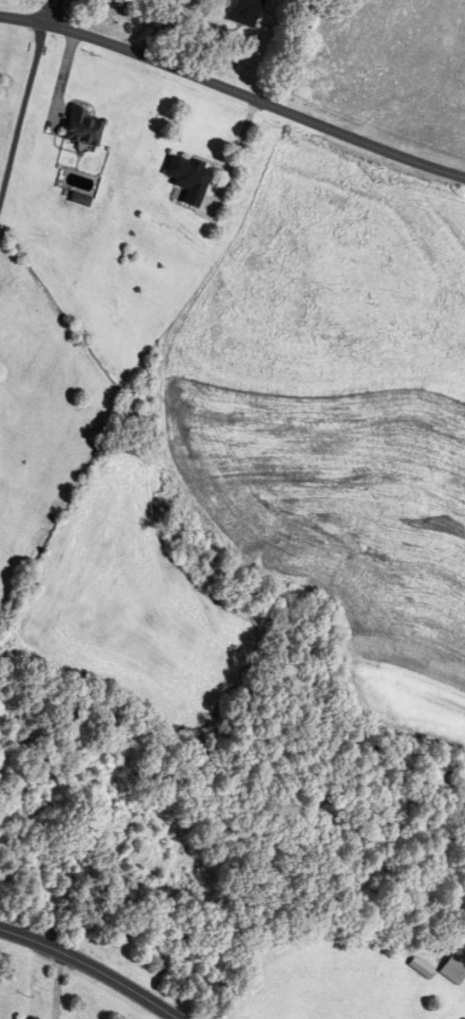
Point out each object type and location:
building: (241, 12)
road: (50, 14)
road: (234, 96)
road: (24, 126)
building: (80, 129)
building: (185, 180)
road: (87, 968)

